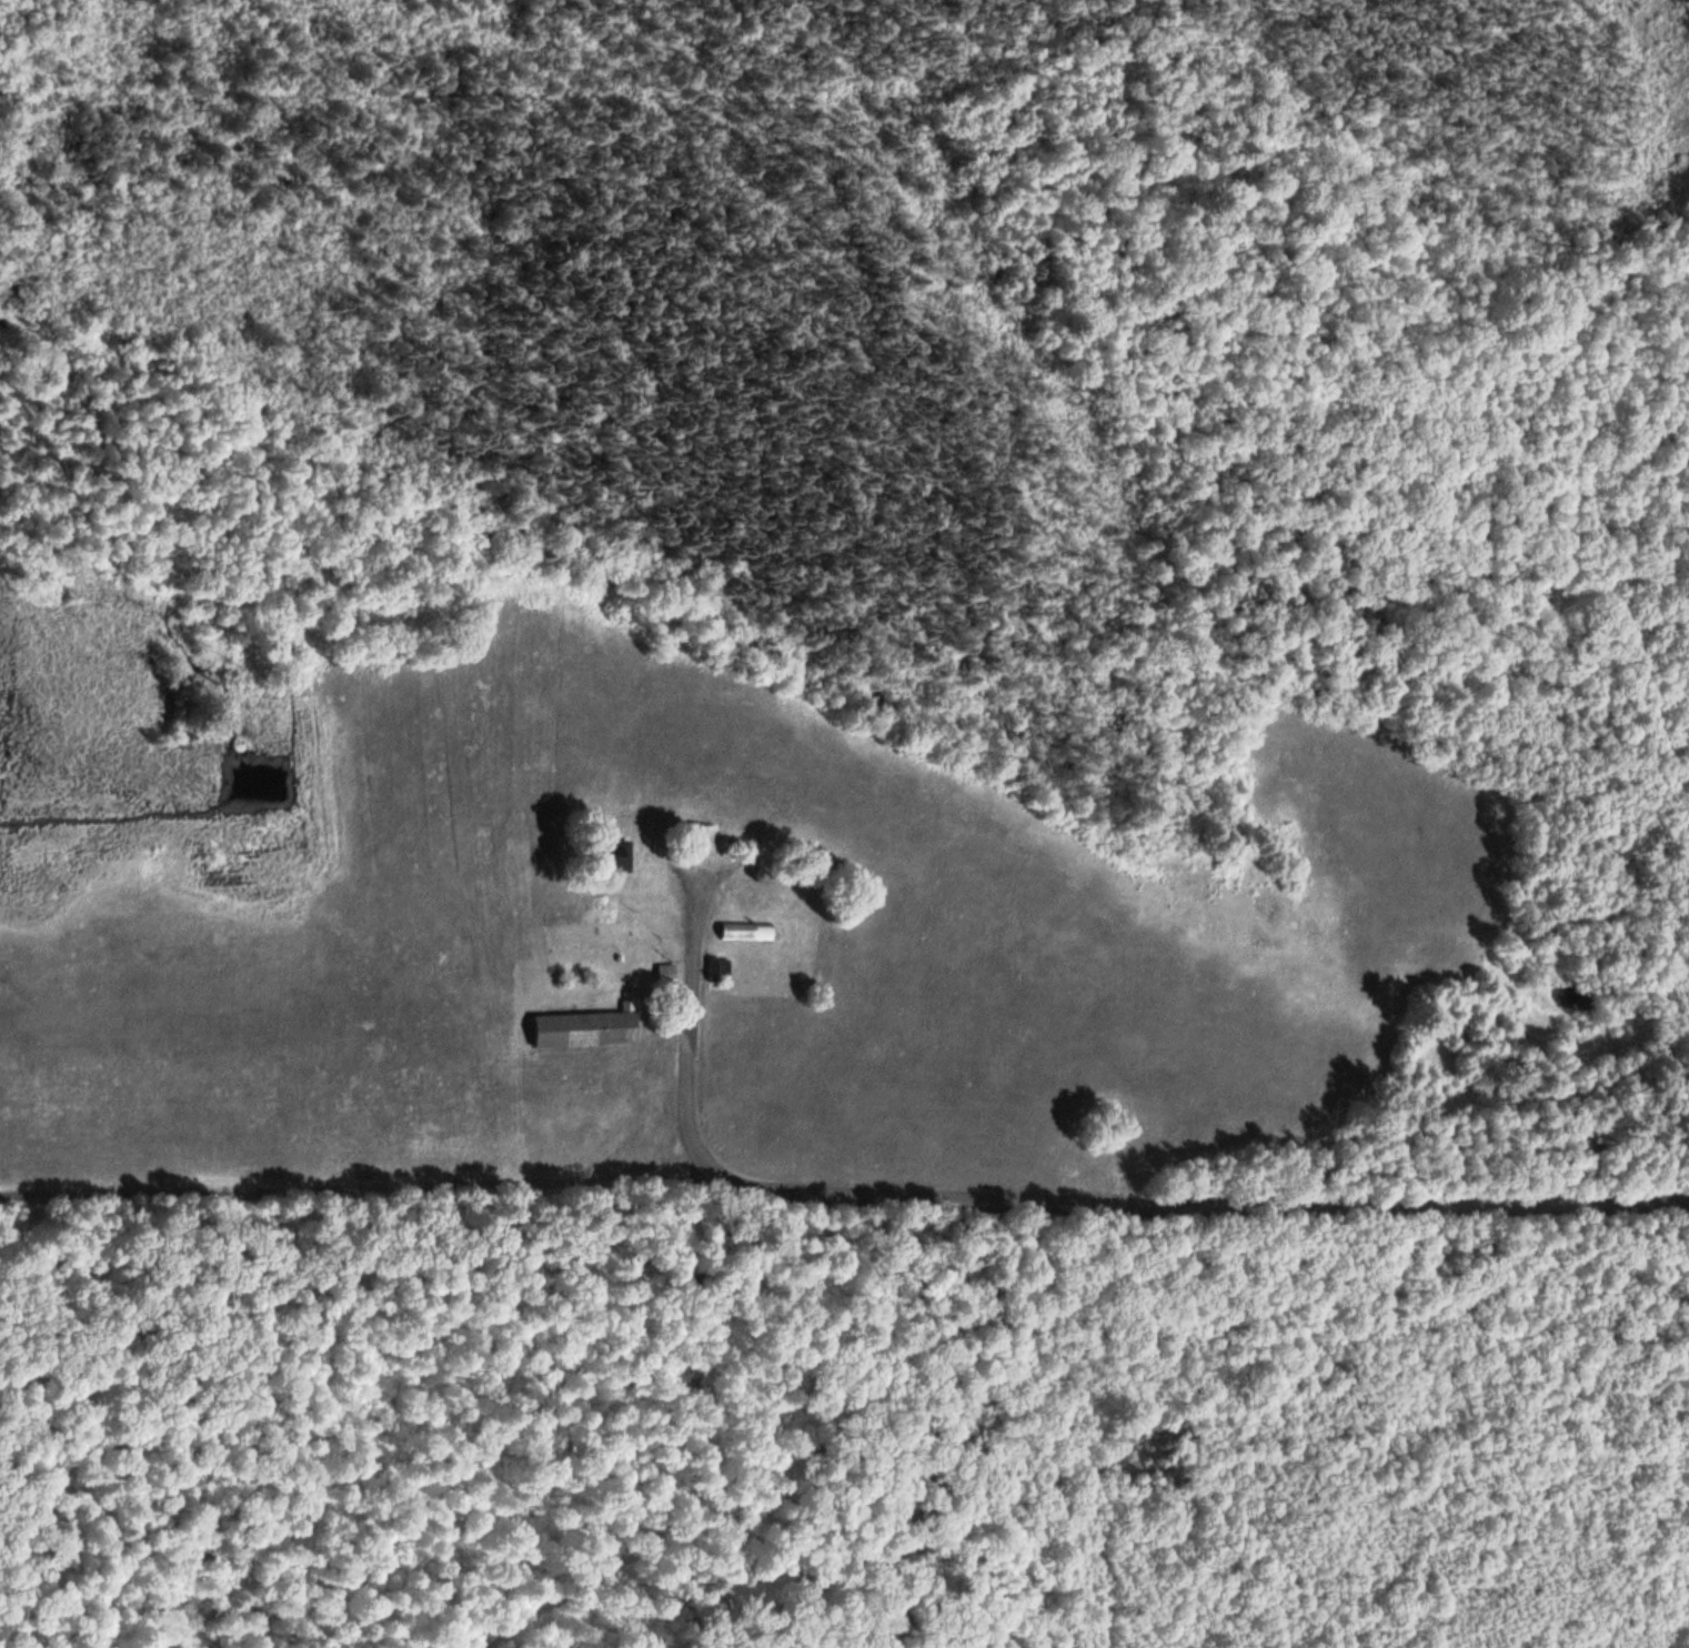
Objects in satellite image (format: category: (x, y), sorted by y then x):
building: (701, 840)
building: (614, 855)
building: (745, 932)
building: (665, 971)
building: (586, 1027)
road: (844, 1197)
road: (1060, 1425)

